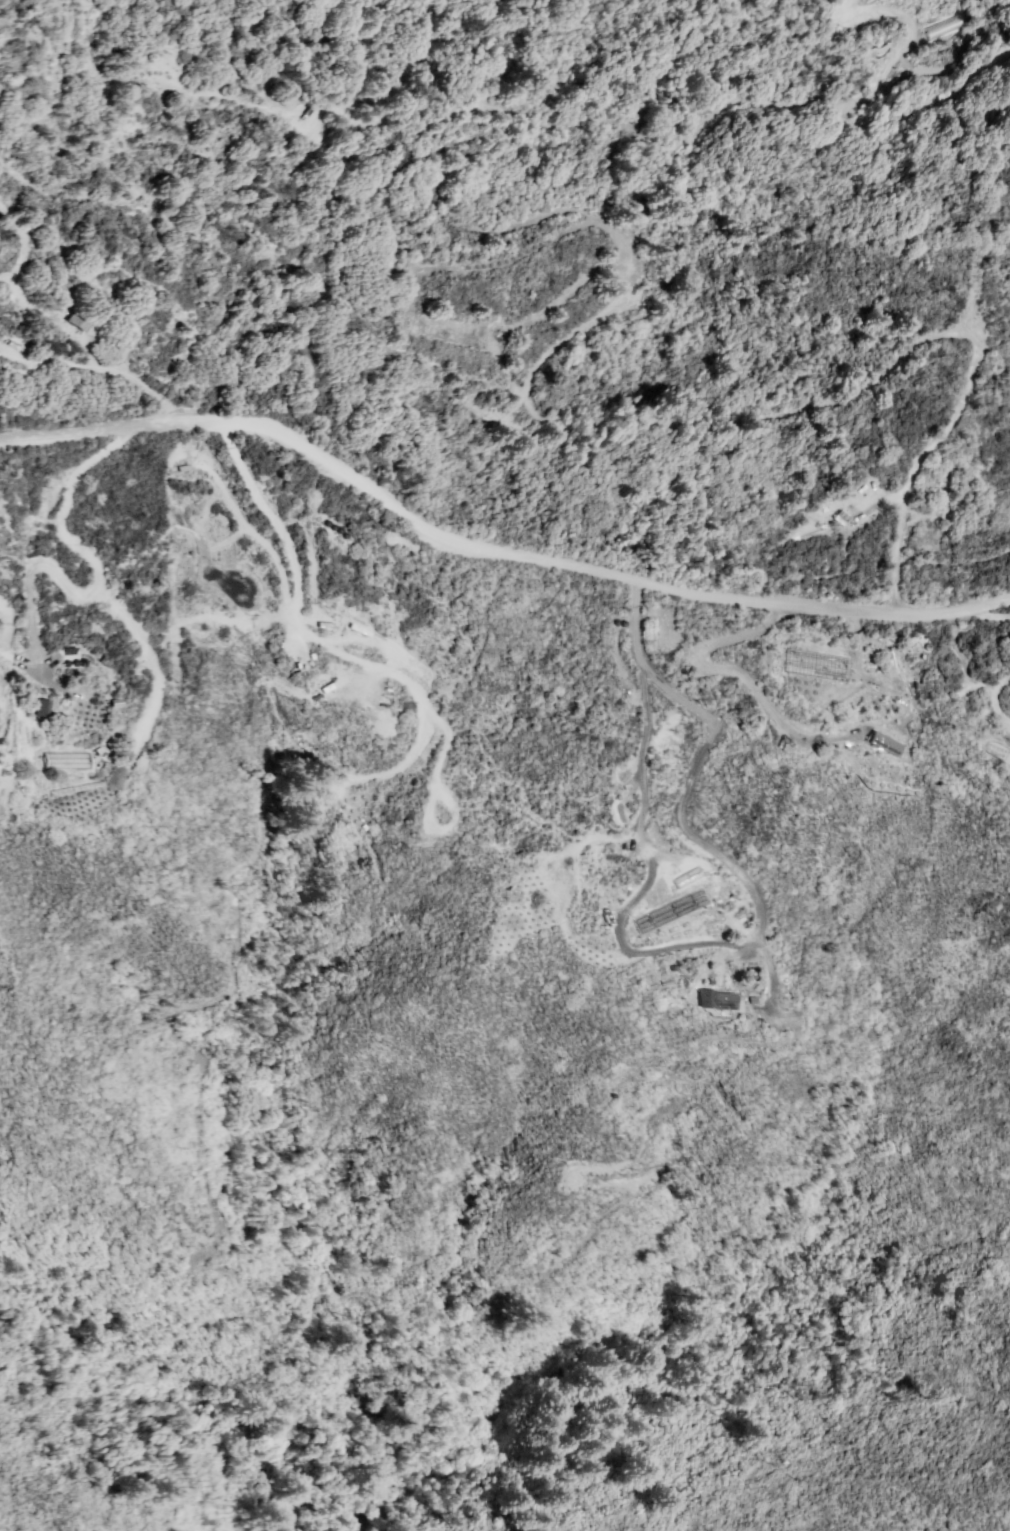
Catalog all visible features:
road: (901, 63)
road: (464, 111)
road: (104, 170)
road: (973, 297)
building: (76, 324)
road: (97, 365)
road: (614, 426)
road: (275, 523)
road: (490, 554)
building: (814, 664)
road: (28, 668)
road: (746, 685)
road: (998, 701)
building: (42, 709)
building: (885, 744)
building: (64, 760)
road: (703, 763)
road: (641, 792)
building: (715, 999)

